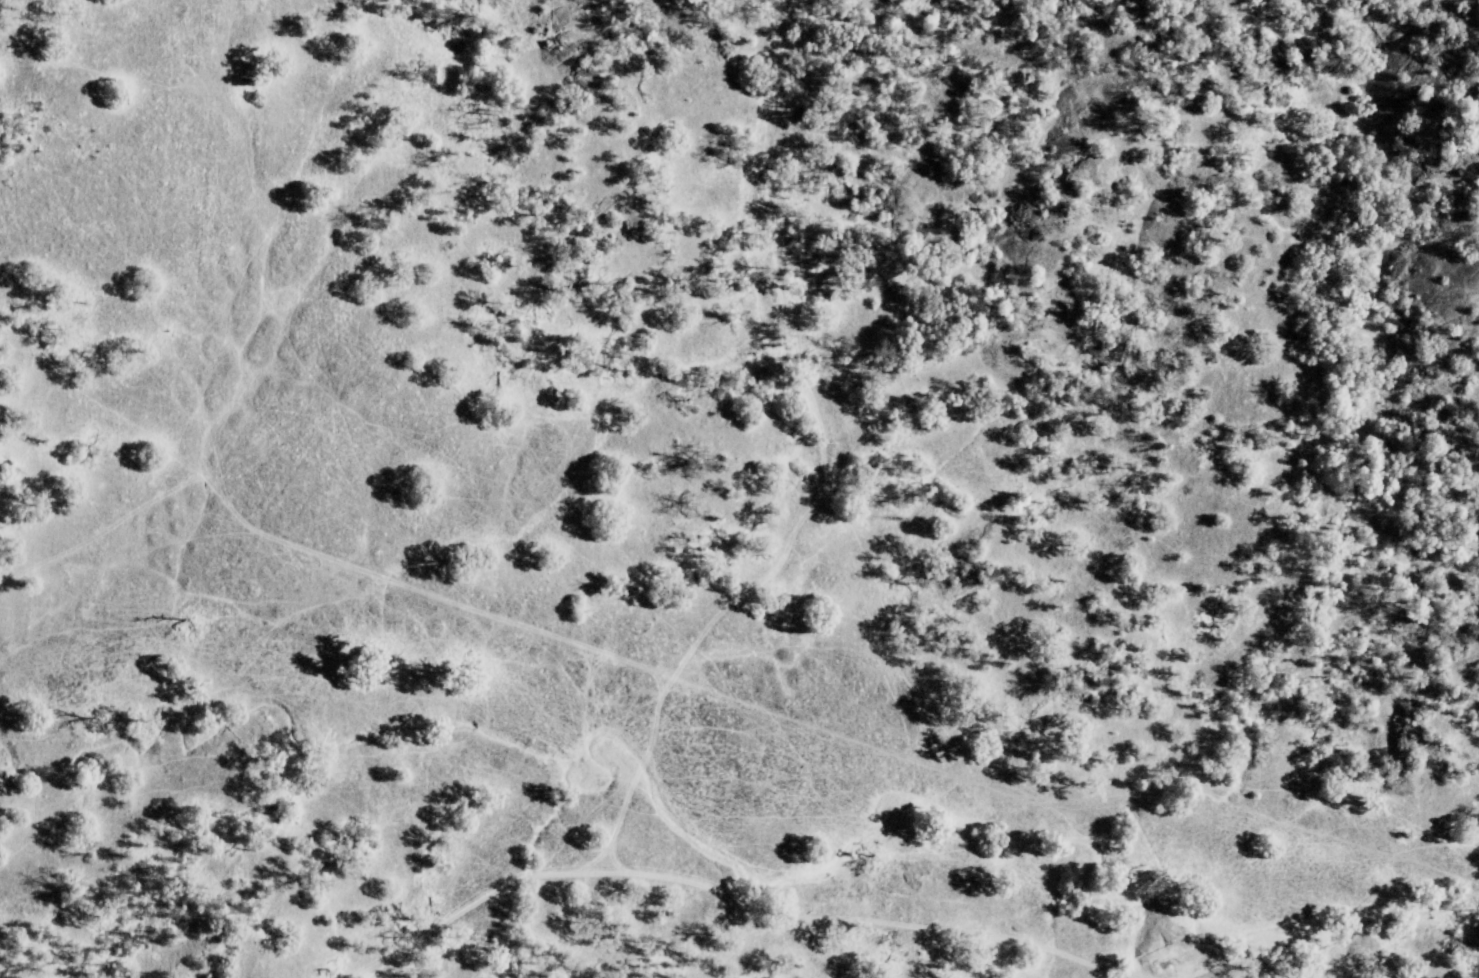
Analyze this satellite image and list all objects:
road: (776, 901)

